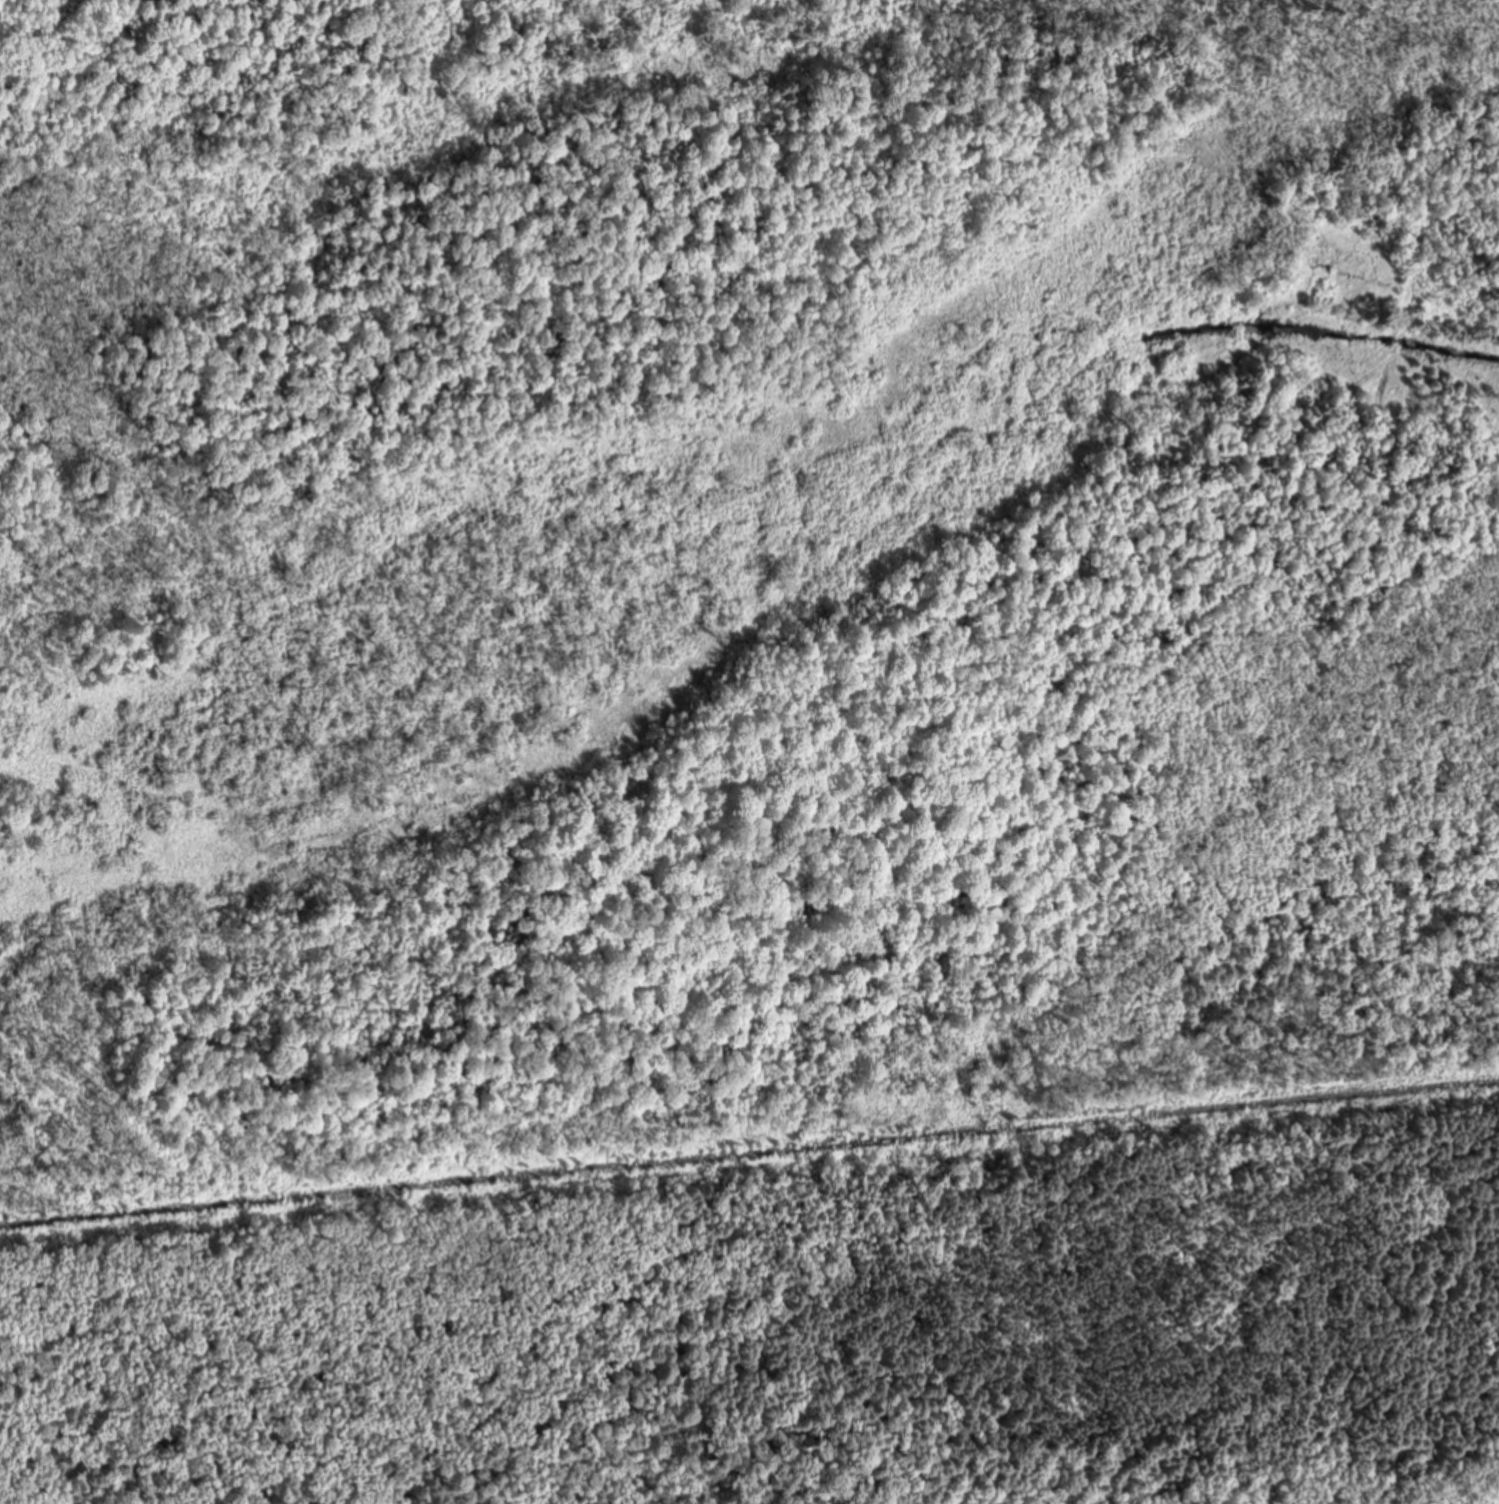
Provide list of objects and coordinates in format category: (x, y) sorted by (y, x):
railway: (749, 1155)

